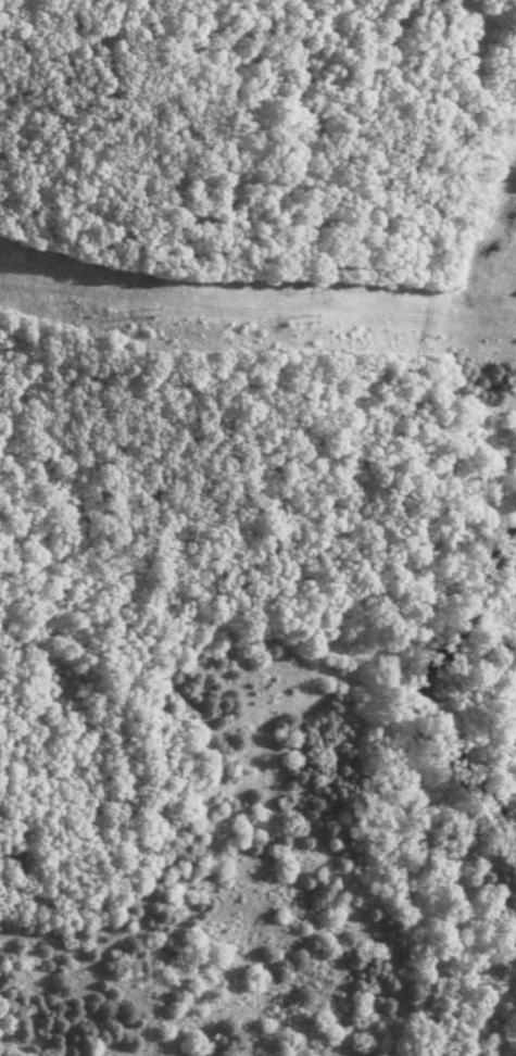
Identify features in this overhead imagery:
power tower: (140, 311)
power tower: (295, 314)

